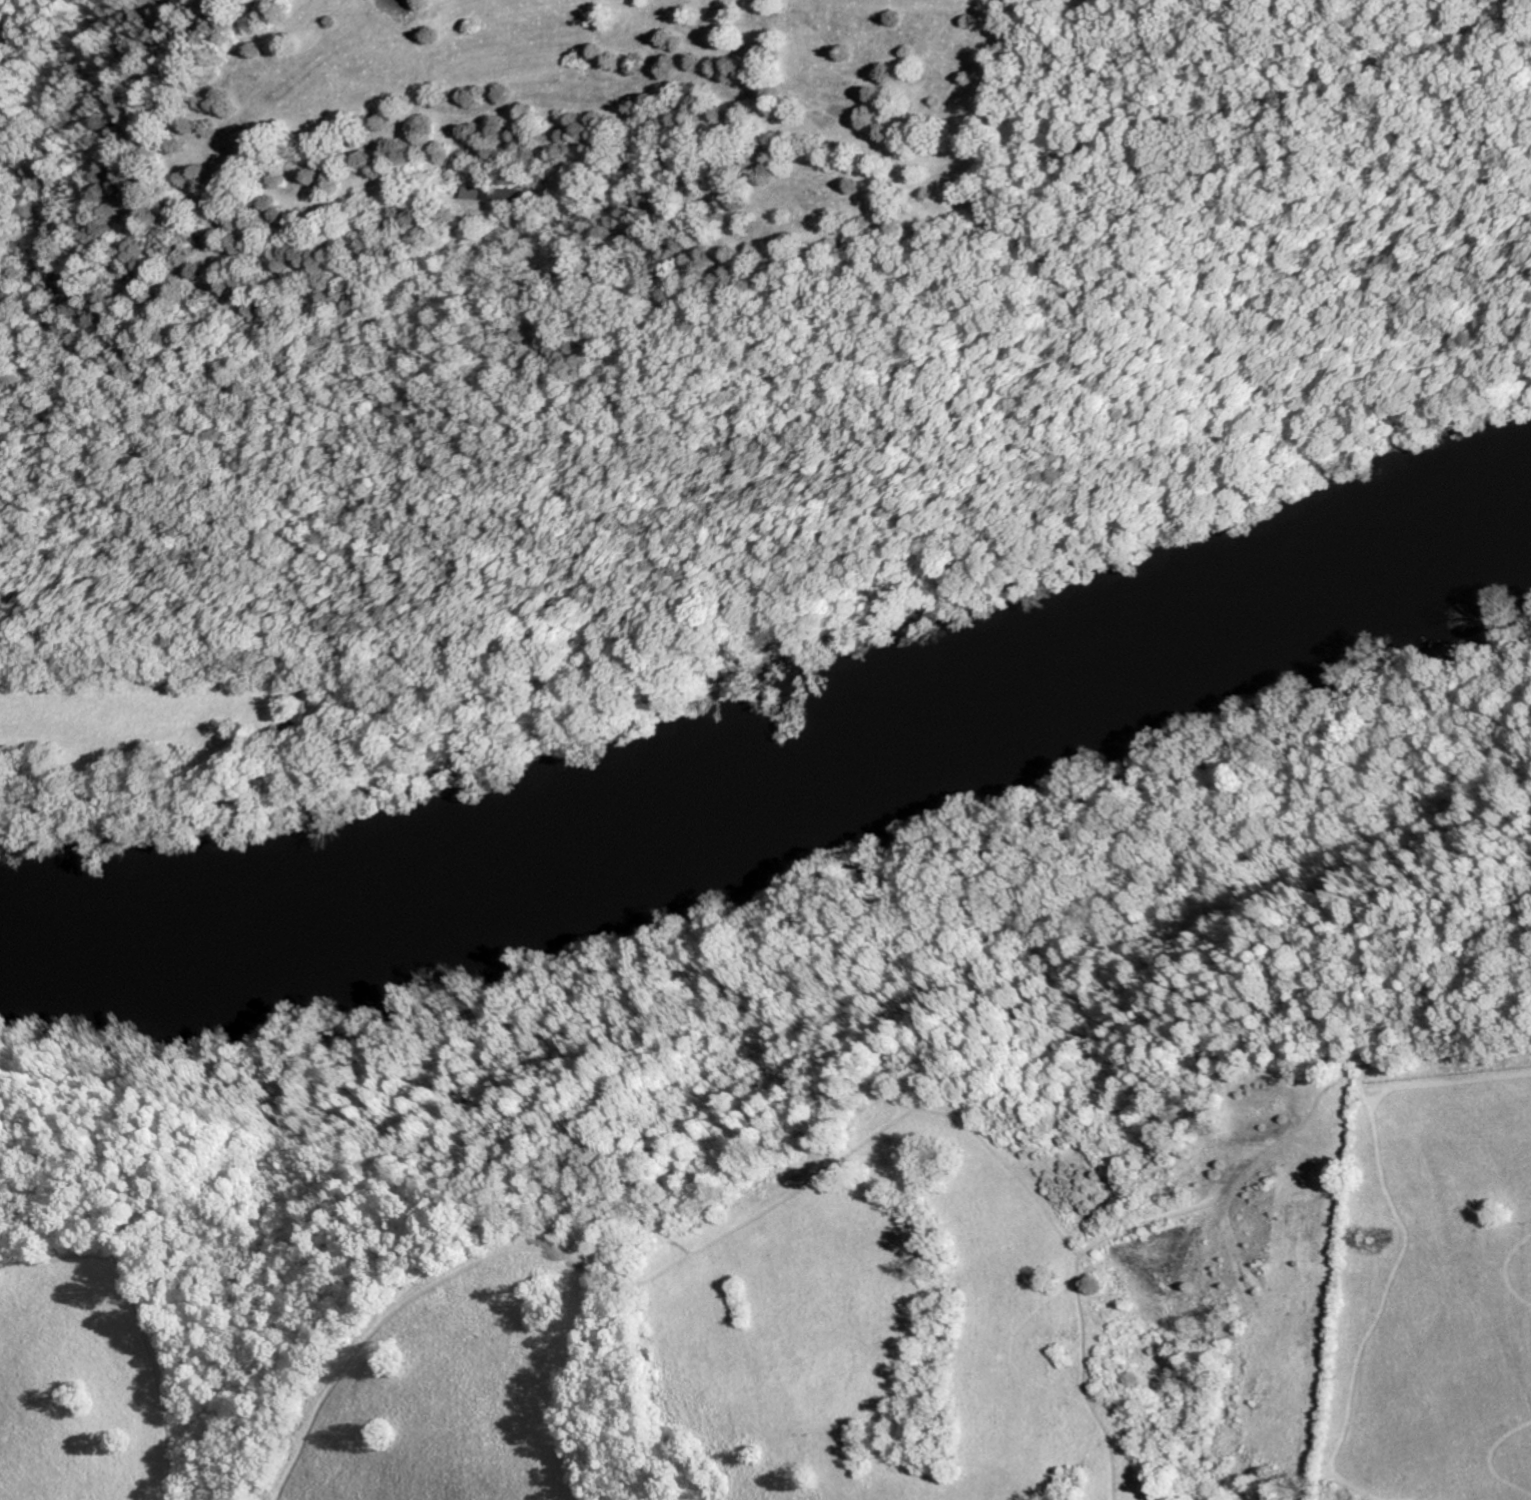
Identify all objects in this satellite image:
road: (10, 13)
building: (478, 194)
building: (515, 197)
river: (773, 757)

